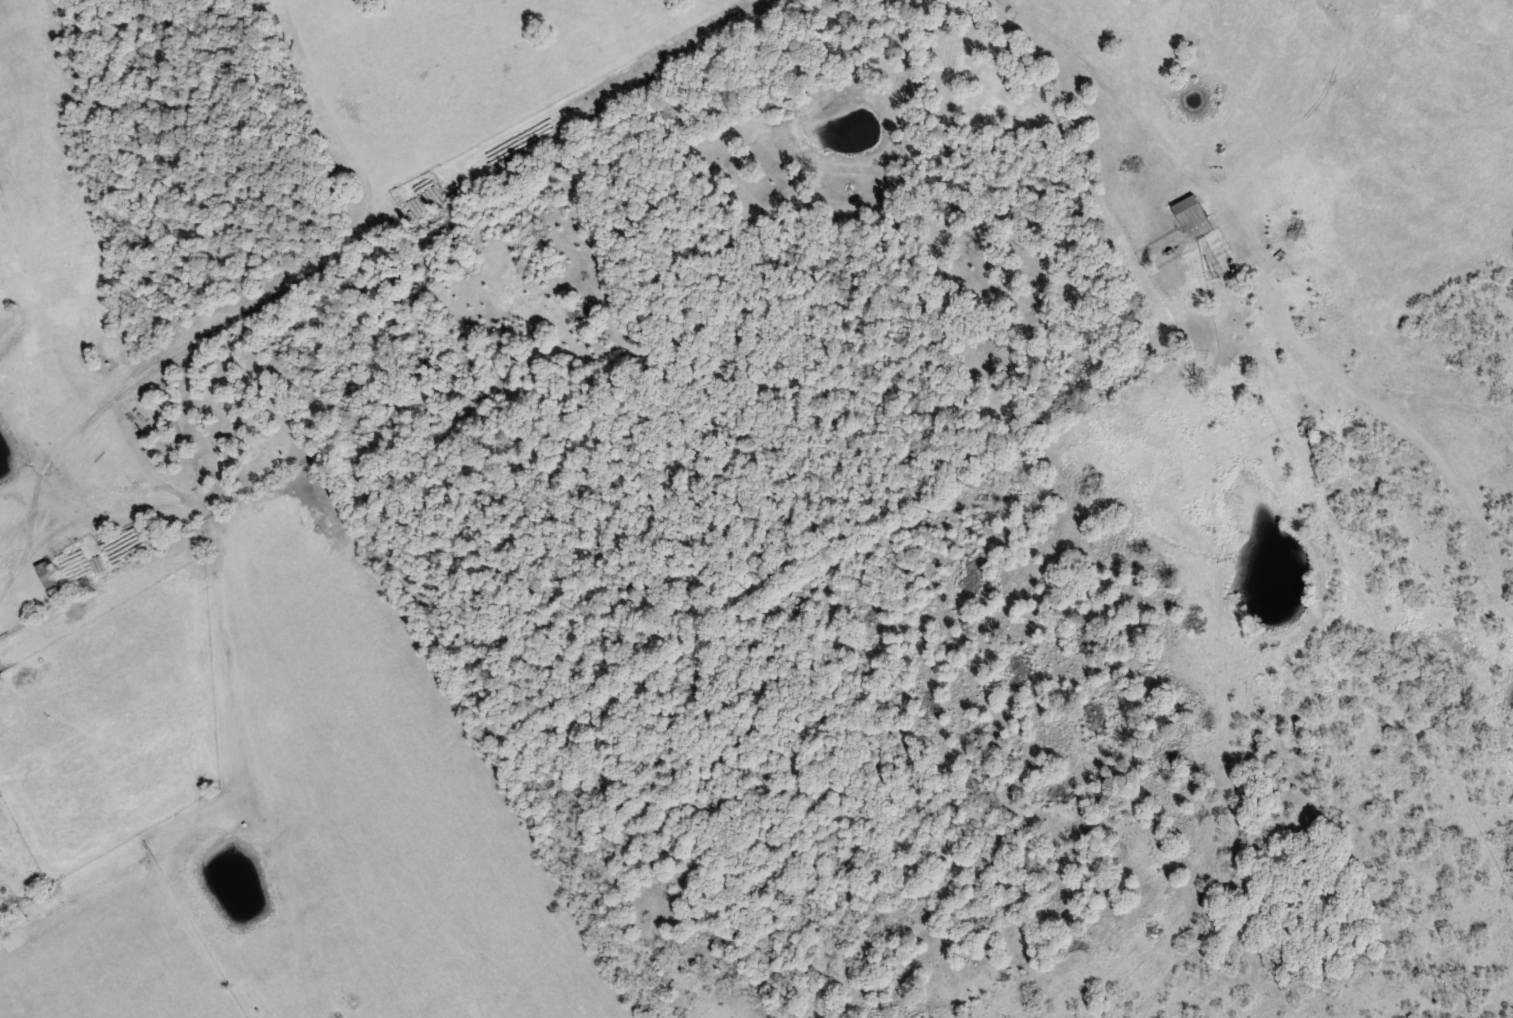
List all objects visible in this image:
building: (1191, 211)
road: (1246, 238)
building: (1283, 380)
building: (46, 573)

